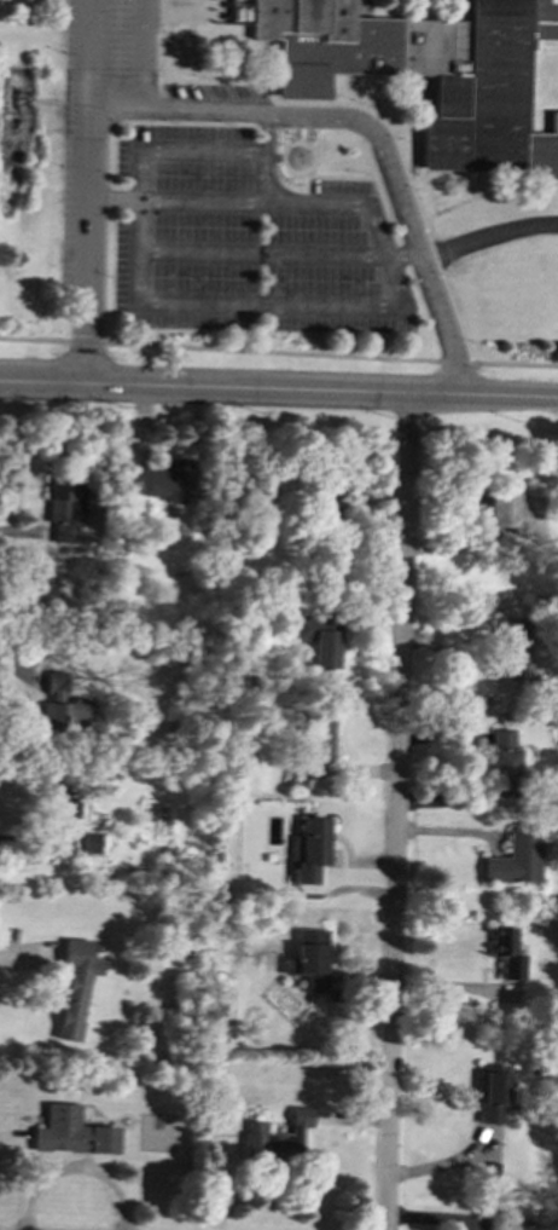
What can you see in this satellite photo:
road: (92, 53)
road: (144, 54)
building: (429, 71)
road: (389, 82)
road: (384, 126)
road: (368, 132)
road: (178, 149)
road: (472, 184)
road: (487, 190)
road: (176, 200)
road: (314, 203)
parking lot: (220, 204)
road: (499, 232)
road: (86, 246)
road: (437, 252)
road: (263, 253)
road: (425, 256)
road: (245, 302)
road: (278, 352)
road: (279, 391)
building: (162, 480)
building: (65, 506)
building: (511, 515)
building: (320, 640)
building: (516, 648)
building: (63, 706)
building: (316, 739)
building: (504, 762)
building: (62, 803)
road: (396, 812)
building: (57, 838)
building: (91, 843)
building: (309, 848)
building: (515, 860)
building: (505, 952)
building: (308, 959)
building: (74, 986)
building: (492, 1093)
building: (70, 1132)
road: (74, 1170)

